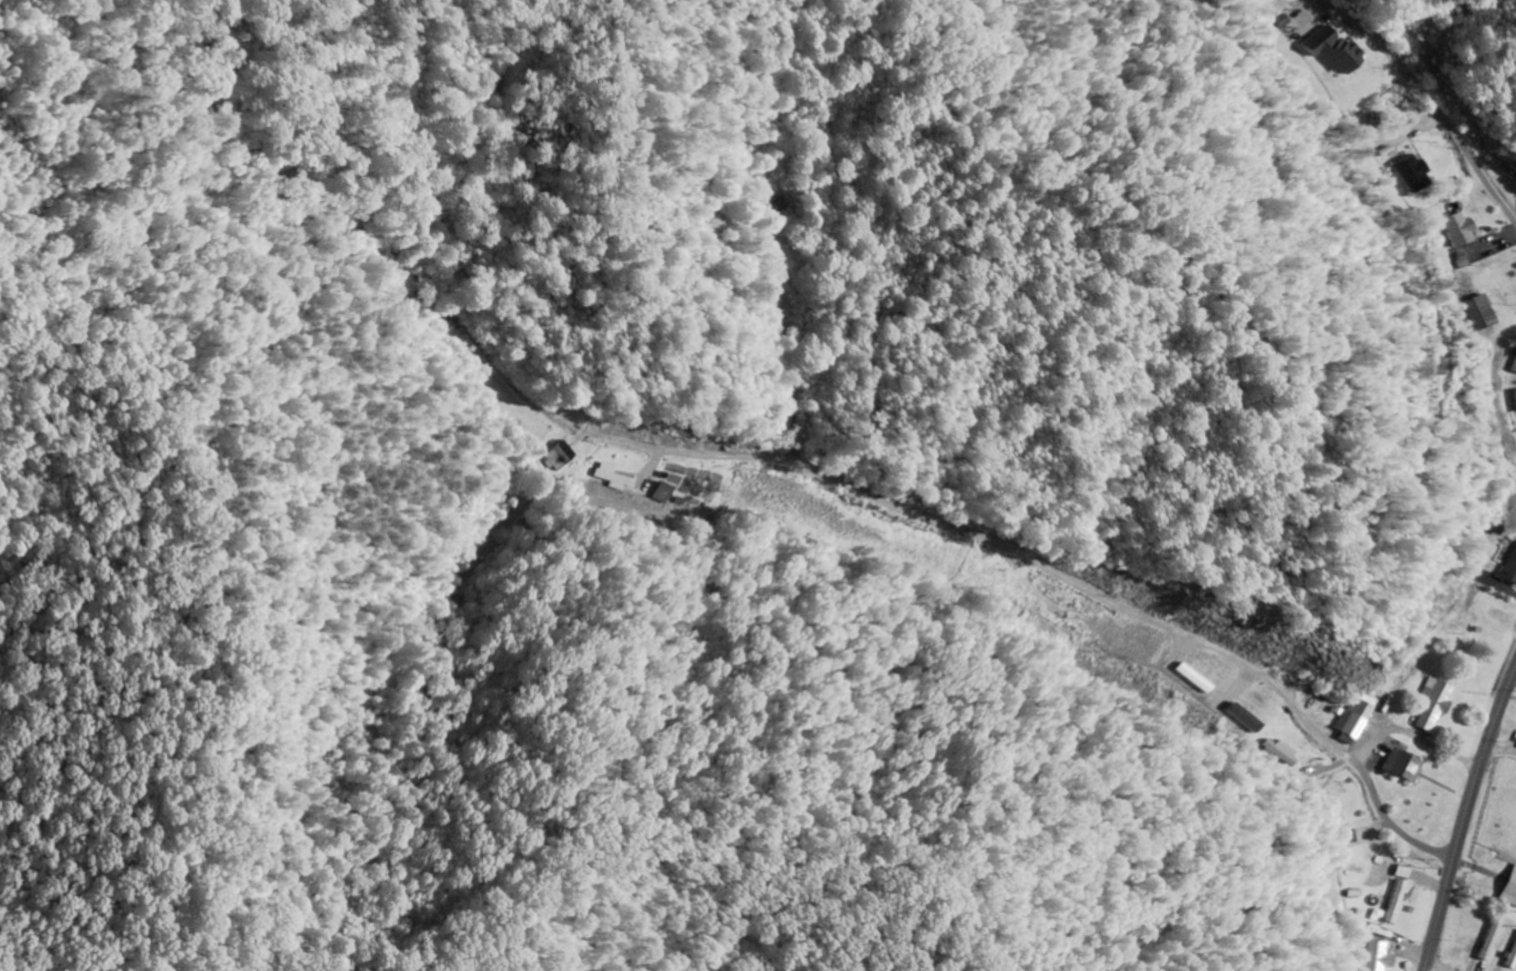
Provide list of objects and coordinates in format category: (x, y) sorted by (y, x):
building: (1292, 20)
building: (1342, 51)
road: (1435, 99)
building: (1419, 173)
building: (1465, 229)
building: (1491, 312)
building: (566, 456)
building: (623, 476)
building: (674, 493)
building: (1511, 571)
road: (1100, 592)
building: (1437, 702)
road: (448, 718)
building: (1255, 718)
building: (1359, 718)
building: (1292, 753)
building: (1405, 766)
road: (1467, 821)
building: (1409, 871)
building: (1511, 889)
building: (1404, 901)
building: (1493, 939)
building: (1390, 956)
building: (1513, 960)
road: (1442, 967)

